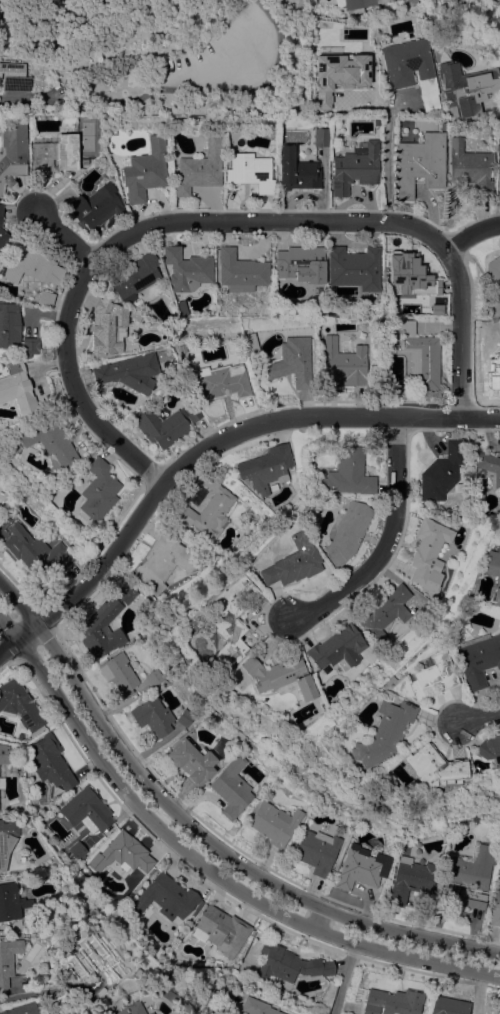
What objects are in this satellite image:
building: (407, 2)
building: (356, 5)
building: (348, 68)
building: (411, 69)
building: (159, 73)
building: (14, 76)
building: (465, 87)
road: (22, 97)
building: (377, 120)
building: (321, 137)
building: (12, 152)
building: (54, 154)
building: (85, 161)
building: (420, 163)
road: (499, 163)
road: (385, 165)
building: (199, 167)
building: (355, 167)
building: (471, 169)
building: (250, 171)
building: (298, 172)
building: (144, 175)
building: (95, 205)
building: (0, 211)
road: (224, 220)
road: (471, 233)
road: (64, 241)
building: (5, 242)
building: (301, 265)
building: (32, 266)
building: (354, 267)
building: (186, 269)
building: (239, 271)
building: (414, 275)
building: (134, 276)
building: (492, 287)
building: (180, 303)
building: (9, 324)
building: (109, 326)
building: (252, 343)
building: (492, 345)
building: (28, 346)
building: (182, 348)
building: (420, 355)
building: (292, 361)
building: (344, 362)
building: (128, 372)
building: (221, 381)
building: (16, 388)
road: (481, 418)
building: (166, 424)
building: (48, 440)
road: (192, 455)
building: (490, 467)
building: (263, 470)
building: (442, 471)
building: (347, 473)
building: (459, 487)
building: (98, 490)
building: (0, 505)
building: (209, 509)
building: (446, 522)
building: (347, 532)
road: (387, 541)
building: (36, 551)
building: (428, 554)
building: (164, 561)
building: (292, 561)
building: (492, 573)
building: (124, 592)
building: (385, 612)
building: (230, 618)
building: (100, 630)
building: (338, 647)
building: (478, 659)
building: (120, 673)
building: (280, 676)
building: (154, 677)
building: (426, 678)
building: (385, 681)
building: (19, 704)
building: (153, 716)
road: (478, 716)
building: (185, 718)
building: (381, 733)
building: (489, 748)
building: (3, 754)
building: (48, 761)
building: (192, 761)
building: (432, 767)
building: (232, 787)
road: (148, 801)
building: (86, 808)
building: (274, 823)
building: (7, 839)
building: (77, 849)
building: (316, 851)
building: (122, 854)
building: (361, 867)
building: (472, 868)
building: (411, 879)
building: (166, 897)
building: (471, 899)
building: (9, 901)
building: (495, 908)
building: (220, 930)
road: (429, 949)
building: (7, 959)
building: (96, 959)
building: (289, 963)
road: (345, 973)
road: (34, 991)
building: (393, 1002)
building: (448, 1006)
building: (256, 1007)
building: (24, 1008)
building: (128, 1008)
building: (149, 1013)

